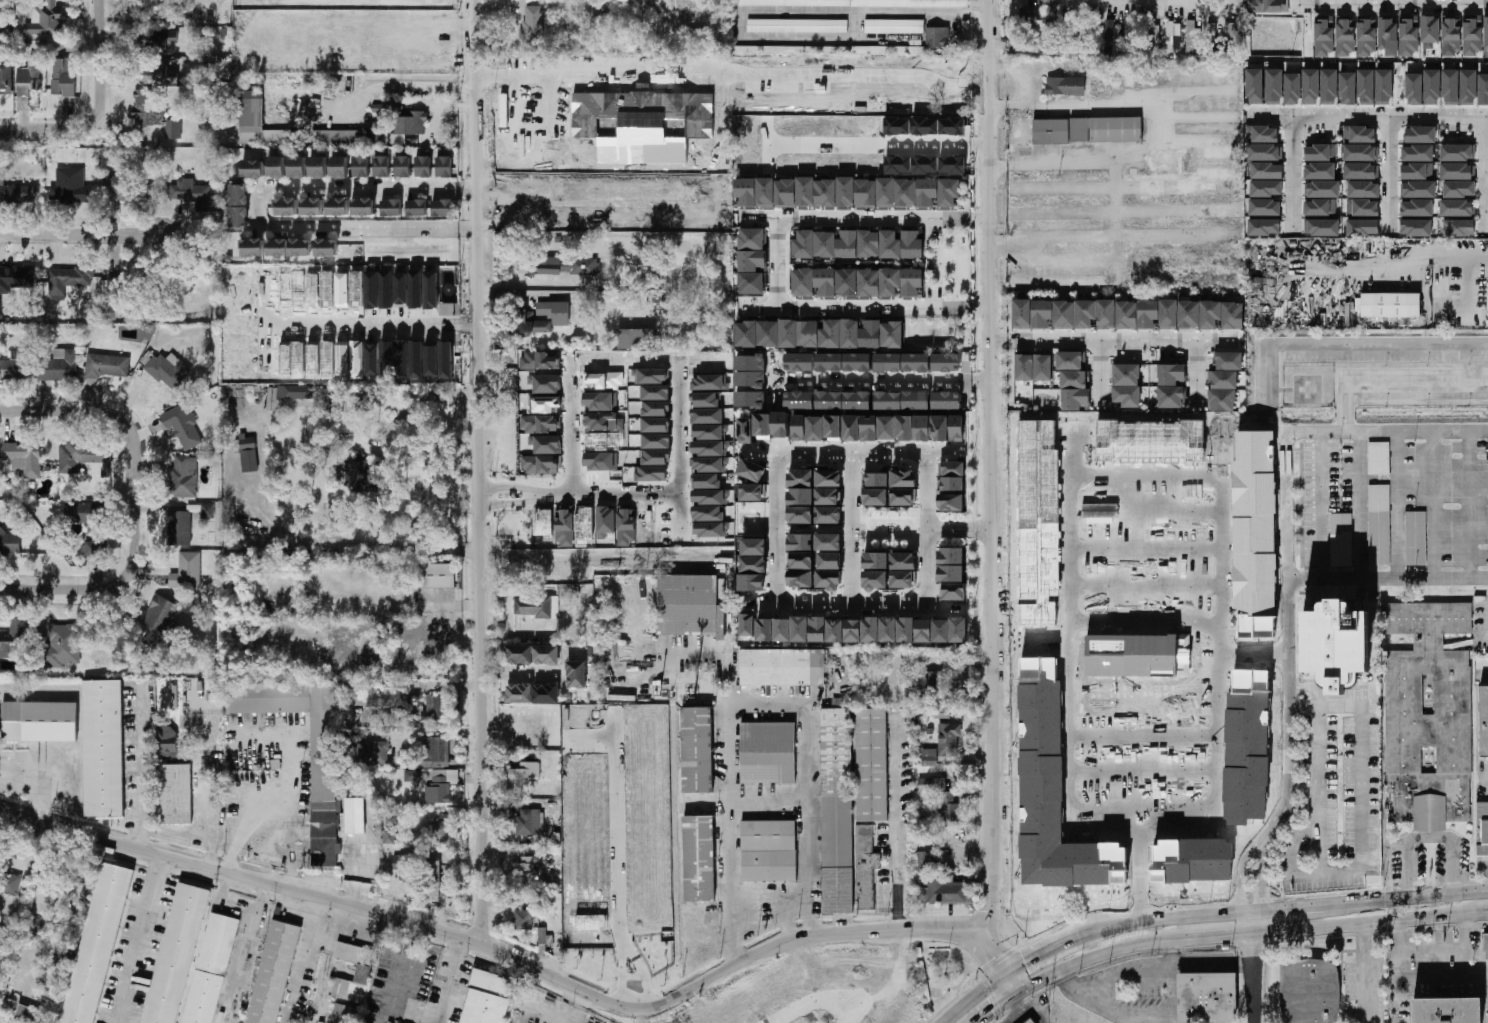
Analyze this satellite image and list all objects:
road: (1298, 1)
road: (1396, 1)
building: (147, 2)
road: (1393, 2)
building: (857, 3)
building: (1268, 6)
road: (770, 11)
building: (1026, 16)
building: (45, 17)
building: (532, 23)
road: (432, 25)
building: (797, 25)
road: (855, 25)
building: (894, 26)
building: (1151, 29)
building: (1430, 29)
building: (1090, 30)
building: (1131, 33)
building: (1451, 34)
building: (1387, 35)
building: (1408, 35)
building: (1472, 35)
building: (1486, 35)
building: (937, 36)
building: (1072, 36)
building: (1109, 36)
building: (1324, 36)
building: (1366, 36)
road: (101, 37)
building: (1173, 37)
building: (1191, 37)
building: (1345, 37)
building: (1231, 38)
building: (156, 40)
building: (1024, 44)
building: (828, 49)
road: (1030, 66)
building: (160, 74)
building: (63, 76)
building: (5, 78)
building: (27, 82)
road: (512, 82)
building: (1065, 85)
building: (1255, 86)
building: (1274, 86)
building: (1310, 86)
building: (1329, 86)
building: (1366, 86)
building: (1383, 86)
building: (1431, 86)
building: (1450, 86)
building: (1468, 86)
building: (1292, 88)
building: (1347, 88)
building: (1413, 89)
building: (1483, 89)
road: (912, 101)
road: (1133, 104)
road: (1011, 105)
building: (153, 111)
road: (1369, 116)
building: (256, 121)
building: (410, 122)
road: (72, 129)
building: (1115, 129)
building: (1061, 130)
building: (1262, 134)
building: (1420, 134)
building: (374, 135)
building: (336, 136)
building: (398, 138)
road: (878, 145)
building: (1264, 152)
building: (1320, 152)
building: (1360, 152)
building: (1457, 152)
building: (1417, 153)
building: (360, 166)
building: (381, 166)
building: (402, 166)
building: (422, 166)
building: (443, 166)
building: (276, 167)
building: (297, 167)
building: (317, 167)
building: (338, 167)
building: (252, 168)
building: (1266, 170)
building: (1319, 170)
building: (1361, 170)
road: (1390, 170)
building: (1417, 170)
road: (1290, 171)
building: (1457, 171)
road: (1485, 171)
building: (70, 187)
building: (116, 187)
building: (1266, 188)
building: (1363, 188)
building: (1458, 188)
building: (1322, 189)
building: (1418, 189)
building: (17, 192)
building: (906, 192)
building: (145, 193)
building: (189, 193)
building: (793, 193)
road: (1114, 197)
building: (238, 206)
building: (285, 206)
building: (311, 206)
building: (337, 206)
building: (362, 206)
road: (256, 207)
building: (390, 207)
building: (416, 207)
building: (442, 207)
building: (1264, 207)
building: (1320, 207)
building: (1362, 207)
building: (1416, 207)
building: (1457, 207)
road: (865, 215)
building: (1264, 226)
building: (1322, 227)
building: (1362, 227)
building: (1416, 227)
building: (1458, 227)
road: (82, 237)
building: (858, 244)
building: (252, 247)
building: (288, 247)
building: (326, 247)
building: (753, 260)
road: (1426, 260)
road: (776, 261)
building: (566, 265)
building: (16, 278)
building: (67, 280)
building: (856, 282)
road: (511, 283)
building: (198, 286)
building: (401, 288)
building: (372, 289)
building: (386, 289)
building: (415, 289)
building: (431, 290)
road: (541, 294)
building: (662, 298)
building: (1390, 304)
road: (867, 308)
building: (554, 311)
building: (1126, 314)
building: (529, 322)
road: (372, 323)
building: (819, 333)
building: (635, 338)
road: (1113, 339)
road: (1334, 343)
building: (408, 358)
building: (372, 359)
building: (386, 359)
building: (445, 359)
building: (431, 360)
building: (1071, 360)
building: (844, 362)
building: (917, 362)
building: (16, 364)
building: (59, 364)
building: (107, 365)
building: (1033, 367)
road: (1103, 371)
road: (1197, 372)
road: (774, 381)
road: (882, 381)
building: (1224, 381)
building: (1126, 384)
building: (1171, 385)
helipad: (1308, 388)
building: (1075, 390)
building: (655, 391)
building: (286, 395)
building: (601, 400)
building: (843, 400)
building: (902, 400)
building: (946, 400)
building: (655, 408)
road: (109, 410)
building: (539, 423)
building: (656, 424)
building: (183, 426)
building: (763, 426)
building: (833, 426)
building: (869, 427)
building: (904, 427)
building: (930, 427)
building: (957, 427)
building: (808, 428)
road: (573, 429)
road: (1359, 432)
building: (656, 440)
building: (546, 443)
road: (851, 449)
road: (680, 451)
building: (248, 454)
building: (82, 455)
road: (386, 455)
building: (655, 456)
building: (24, 457)
building: (1379, 458)
building: (601, 460)
building: (539, 463)
building: (709, 464)
road: (990, 469)
building: (751, 470)
road: (478, 472)
building: (651, 473)
building: (358, 476)
building: (951, 476)
road: (1110, 476)
building: (182, 477)
building: (828, 478)
building: (903, 478)
building: (875, 479)
building: (706, 480)
road: (510, 486)
building: (800, 487)
road: (1319, 489)
road: (611, 492)
building: (752, 492)
building: (827, 495)
building: (710, 496)
building: (875, 497)
building: (903, 497)
building: (951, 502)
road: (511, 503)
road: (1395, 505)
road: (1433, 505)
road: (1469, 505)
road: (1286, 506)
road: (1360, 506)
building: (207, 510)
flagpole: (546, 511)
building: (708, 513)
building: (800, 514)
building: (828, 514)
building: (605, 521)
road: (776, 522)
building: (87, 523)
road: (853, 523)
road: (927, 524)
building: (1379, 524)
building: (564, 526)
building: (626, 526)
building: (179, 528)
building: (711, 529)
road: (959, 529)
building: (1287, 529)
road: (1319, 533)
building: (1415, 537)
building: (1341, 539)
building: (800, 541)
building: (828, 541)
building: (9, 542)
road: (349, 545)
building: (753, 555)
road: (590, 558)
building: (801, 560)
building: (829, 560)
building: (876, 560)
building: (903, 561)
building: (951, 564)
building: (187, 571)
building: (437, 575)
building: (800, 578)
building: (828, 579)
building: (875, 579)
building: (902, 579)
road: (1387, 579)
building: (751, 582)
road: (103, 591)
building: (954, 591)
road: (852, 597)
road: (413, 604)
building: (692, 605)
building: (537, 606)
building: (159, 621)
road: (1286, 621)
building: (747, 624)
building: (861, 630)
building: (15, 639)
building: (1336, 644)
building: (60, 646)
building: (532, 654)
road: (1270, 657)
building: (782, 666)
road: (514, 673)
building: (576, 674)
building: (928, 683)
road: (1312, 687)
building: (353, 689)
building: (532, 693)
road: (1339, 703)
road: (1303, 705)
building: (438, 708)
building: (1429, 716)
building: (1484, 720)
building: (39, 721)
road: (1147, 737)
building: (948, 739)
building: (167, 741)
building: (103, 748)
building: (697, 749)
building: (368, 752)
building: (434, 752)
building: (768, 752)
building: (929, 757)
building: (871, 764)
road: (136, 769)
road: (807, 770)
road: (733, 771)
building: (525, 773)
road: (1285, 773)
building: (412, 775)
building: (323, 782)
building: (932, 784)
building: (441, 785)
building: (176, 793)
road: (1363, 795)
road: (1316, 797)
building: (947, 806)
building: (837, 810)
road: (206, 815)
building: (354, 815)
road: (249, 821)
building: (528, 822)
road: (896, 825)
building: (1482, 828)
building: (442, 829)
building: (390, 835)
road: (1428, 838)
road: (617, 841)
building: (769, 850)
road: (1295, 850)
building: (698, 857)
building: (925, 860)
road: (291, 861)
building: (865, 865)
building: (404, 866)
building: (526, 868)
road: (1387, 873)
road: (1324, 876)
road: (1240, 877)
road: (1259, 878)
building: (438, 882)
building: (10, 883)
building: (942, 890)
road: (1406, 898)
road: (31, 908)
road: (1288, 908)
road: (1485, 911)
road: (1160, 917)
road: (789, 918)
building: (523, 919)
road: (1367, 922)
building: (542, 935)
road: (1219, 935)
road: (142, 940)
road: (981, 942)
building: (97, 943)
road: (479, 945)
road: (1464, 945)
building: (1484, 946)
building: (353, 952)
road: (1096, 953)
building: (176, 954)
traffic signals: (992, 955)
road: (1039, 956)
traffic signals: (1027, 963)
road: (1253, 966)
building: (211, 969)
road: (642, 970)
road: (1137, 971)
building: (273, 972)
road: (622, 973)
road: (1365, 973)
road: (1418, 976)
road: (448, 981)
road: (1011, 983)
building: (353, 985)
building: (1309, 991)
road: (1173, 993)
road: (972, 996)
building: (1207, 997)
road: (1396, 997)
building: (486, 998)
road: (993, 1008)
traffic signals: (992, 1009)
building: (1447, 1010)
building: (28, 1013)
building: (343, 1014)
road: (1126, 1014)

